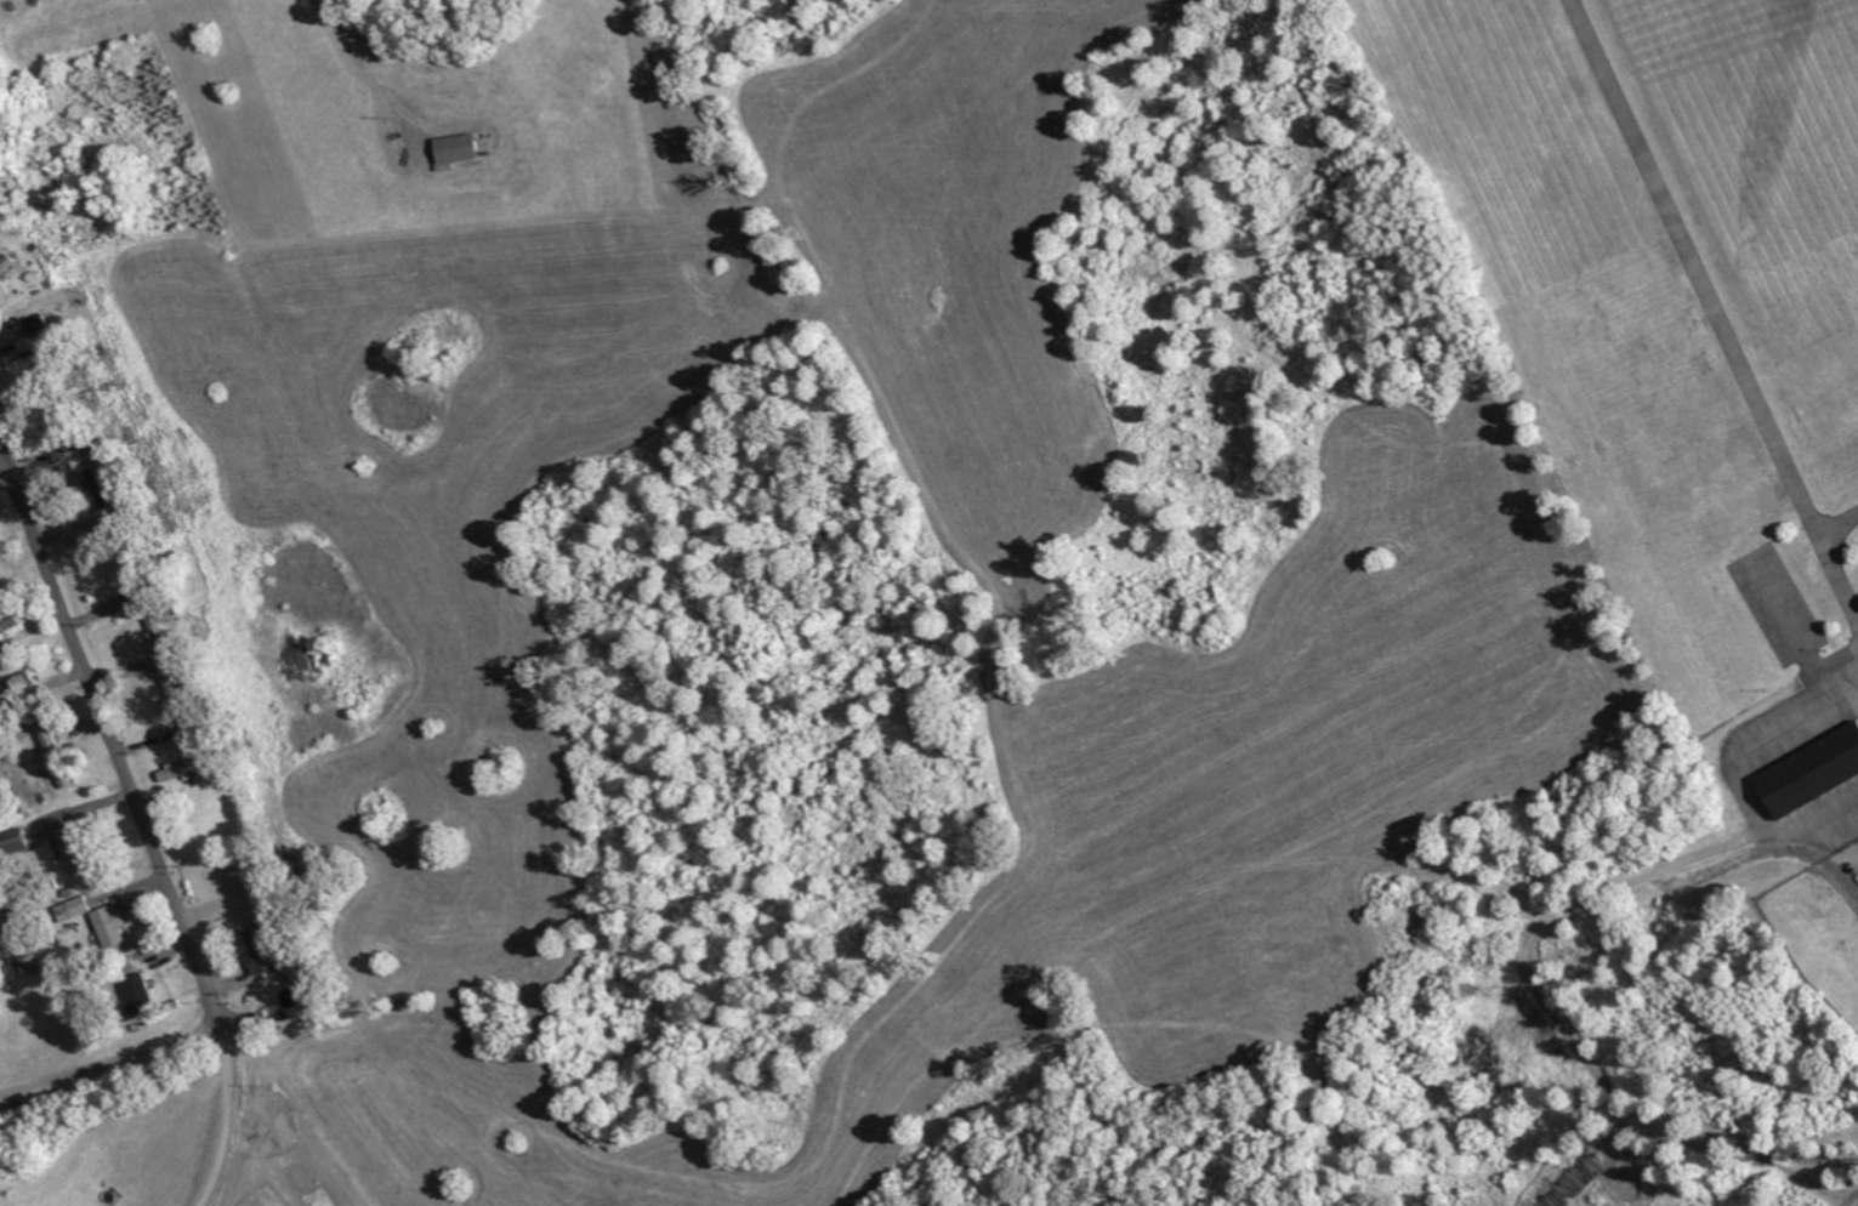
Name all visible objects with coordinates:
road: (360, 72)
building: (460, 148)
road: (1703, 308)
road: (1836, 523)
road: (109, 730)
road: (1735, 762)
building: (1813, 774)
building: (75, 849)
building: (251, 871)
building: (75, 909)
building: (112, 927)
building: (265, 951)
building: (140, 995)
road: (206, 1008)
road: (98, 1047)
road: (232, 1109)

